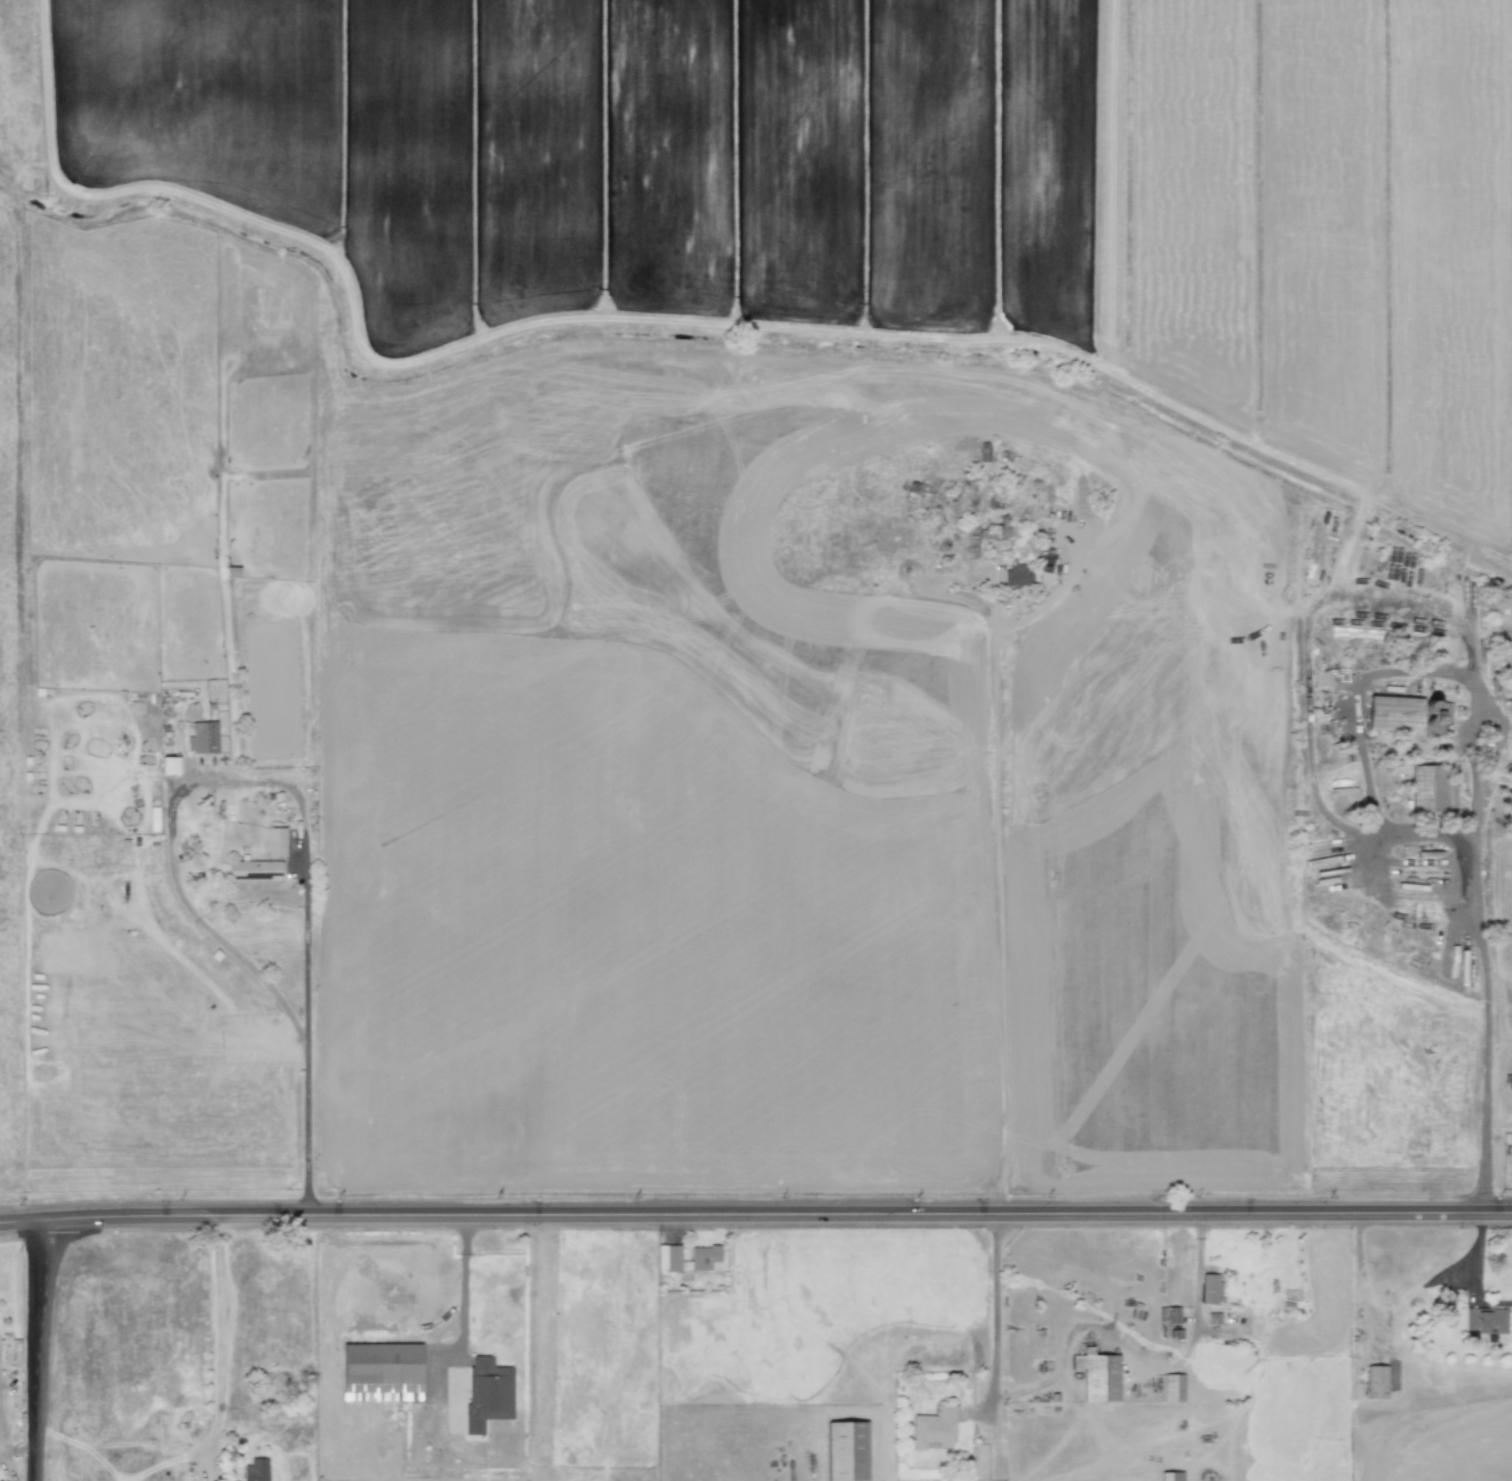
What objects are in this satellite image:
building: (990, 539)
building: (1045, 563)
building: (1018, 575)
building: (1406, 713)
road: (1354, 725)
building: (205, 737)
building: (169, 765)
road: (998, 775)
building: (1432, 789)
building: (207, 841)
building: (275, 841)
building: (254, 870)
road: (1481, 945)
road: (306, 1033)
road: (755, 1215)
building: (705, 1254)
building: (1211, 1289)
road: (996, 1308)
road: (461, 1309)
building: (1169, 1315)
road: (220, 1320)
building: (1486, 1322)
road: (37, 1351)
building: (381, 1371)
building: (1098, 1375)
building: (1376, 1382)
building: (1174, 1388)
building: (487, 1392)
building: (934, 1428)
building: (846, 1451)
building: (256, 1470)
building: (1172, 1476)

